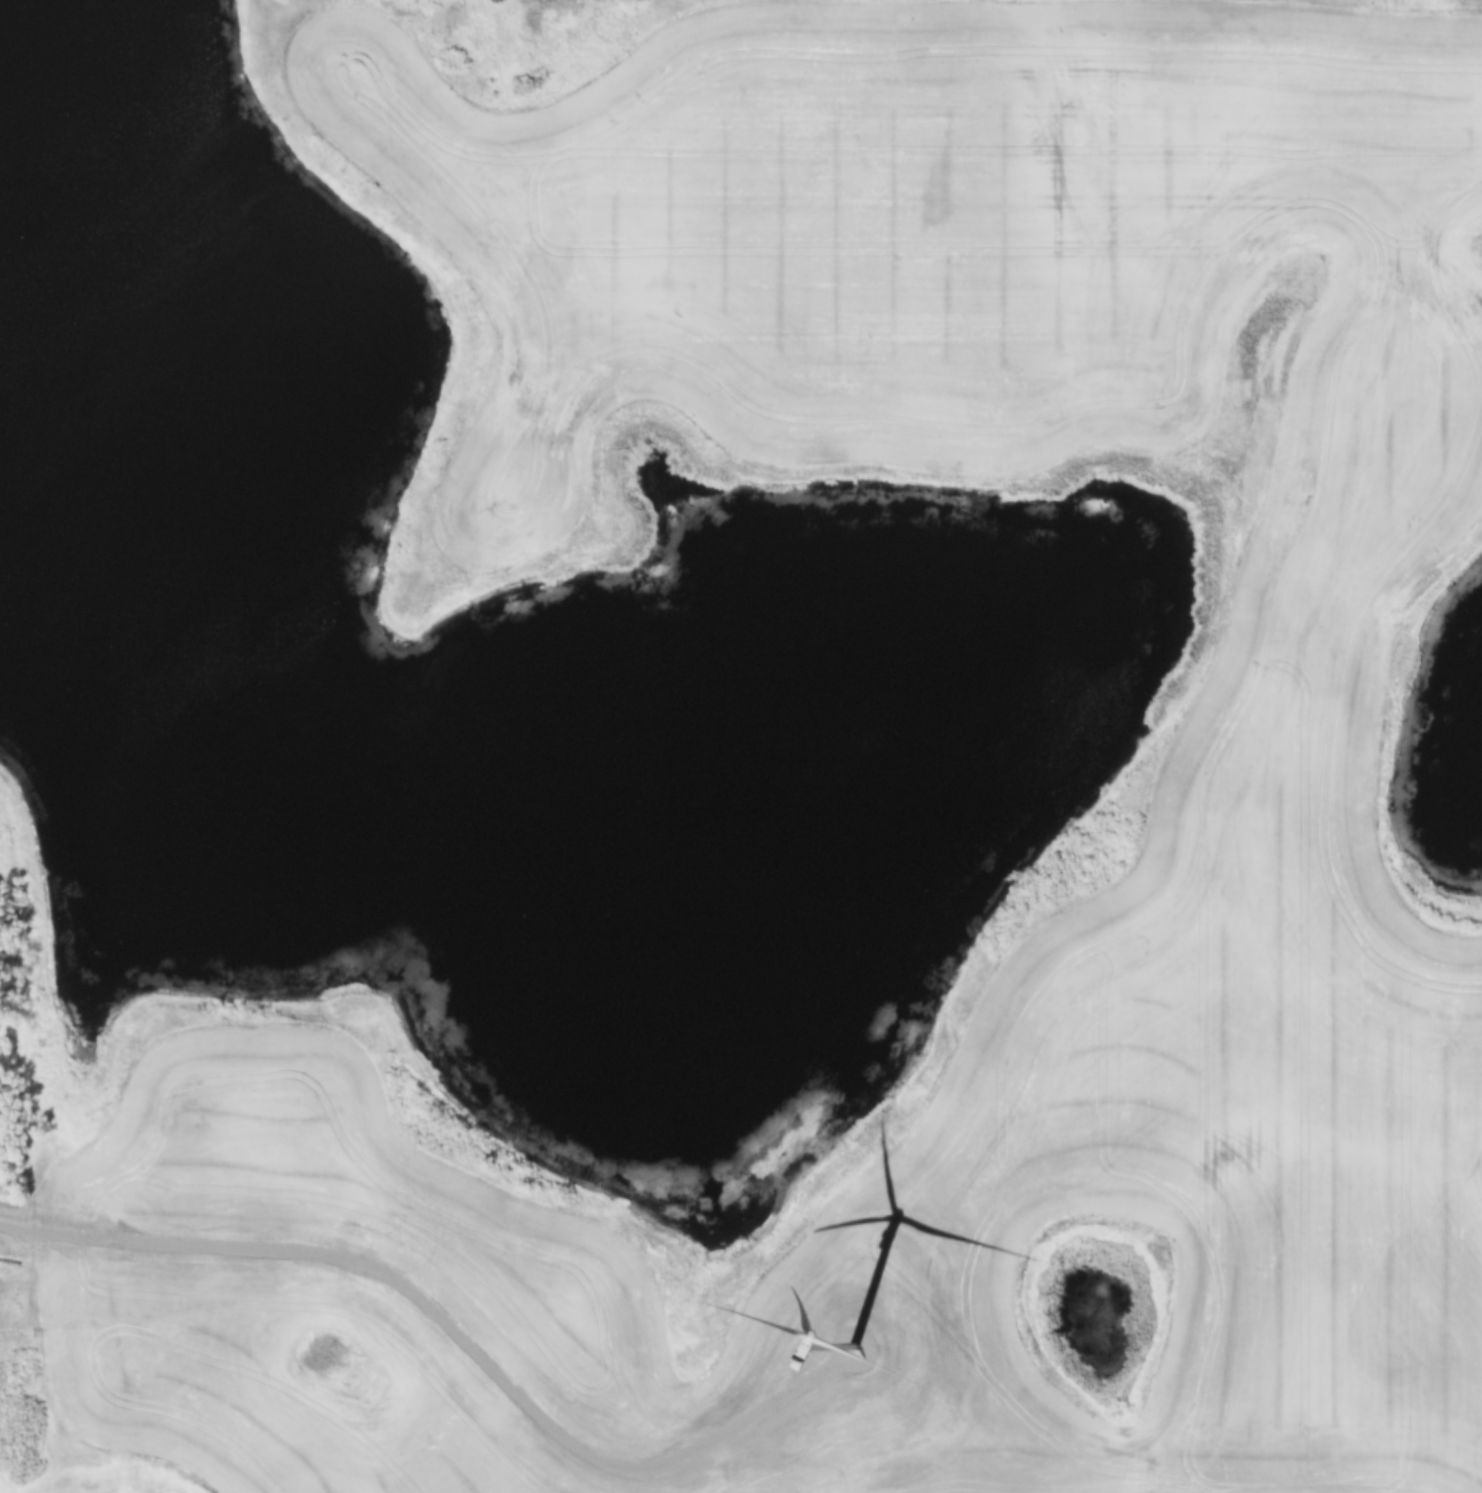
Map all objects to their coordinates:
road: (378, 1277)
wind turbine: (825, 1338)

